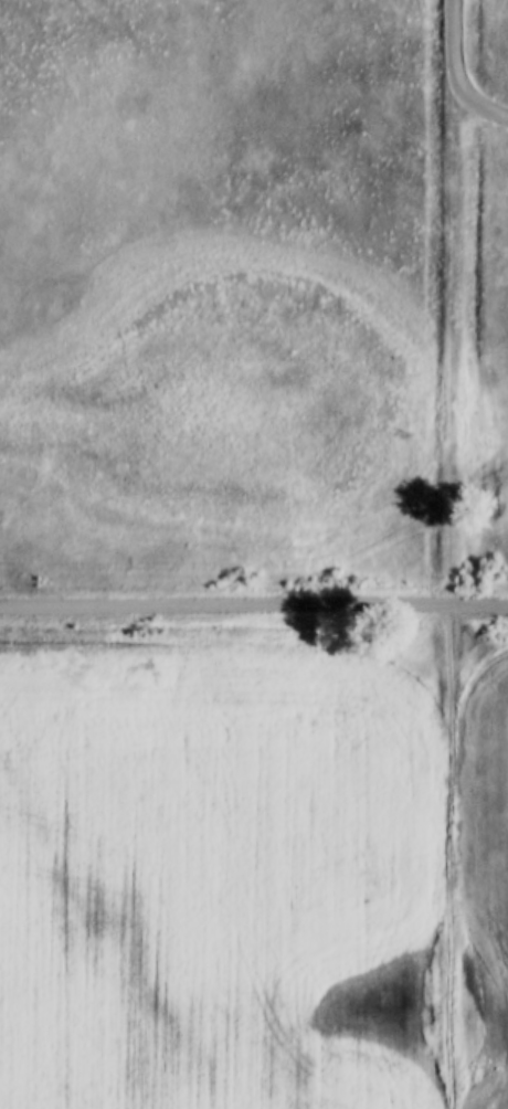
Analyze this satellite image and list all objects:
road: (454, 42)
road: (479, 105)
road: (452, 595)
road: (253, 602)

